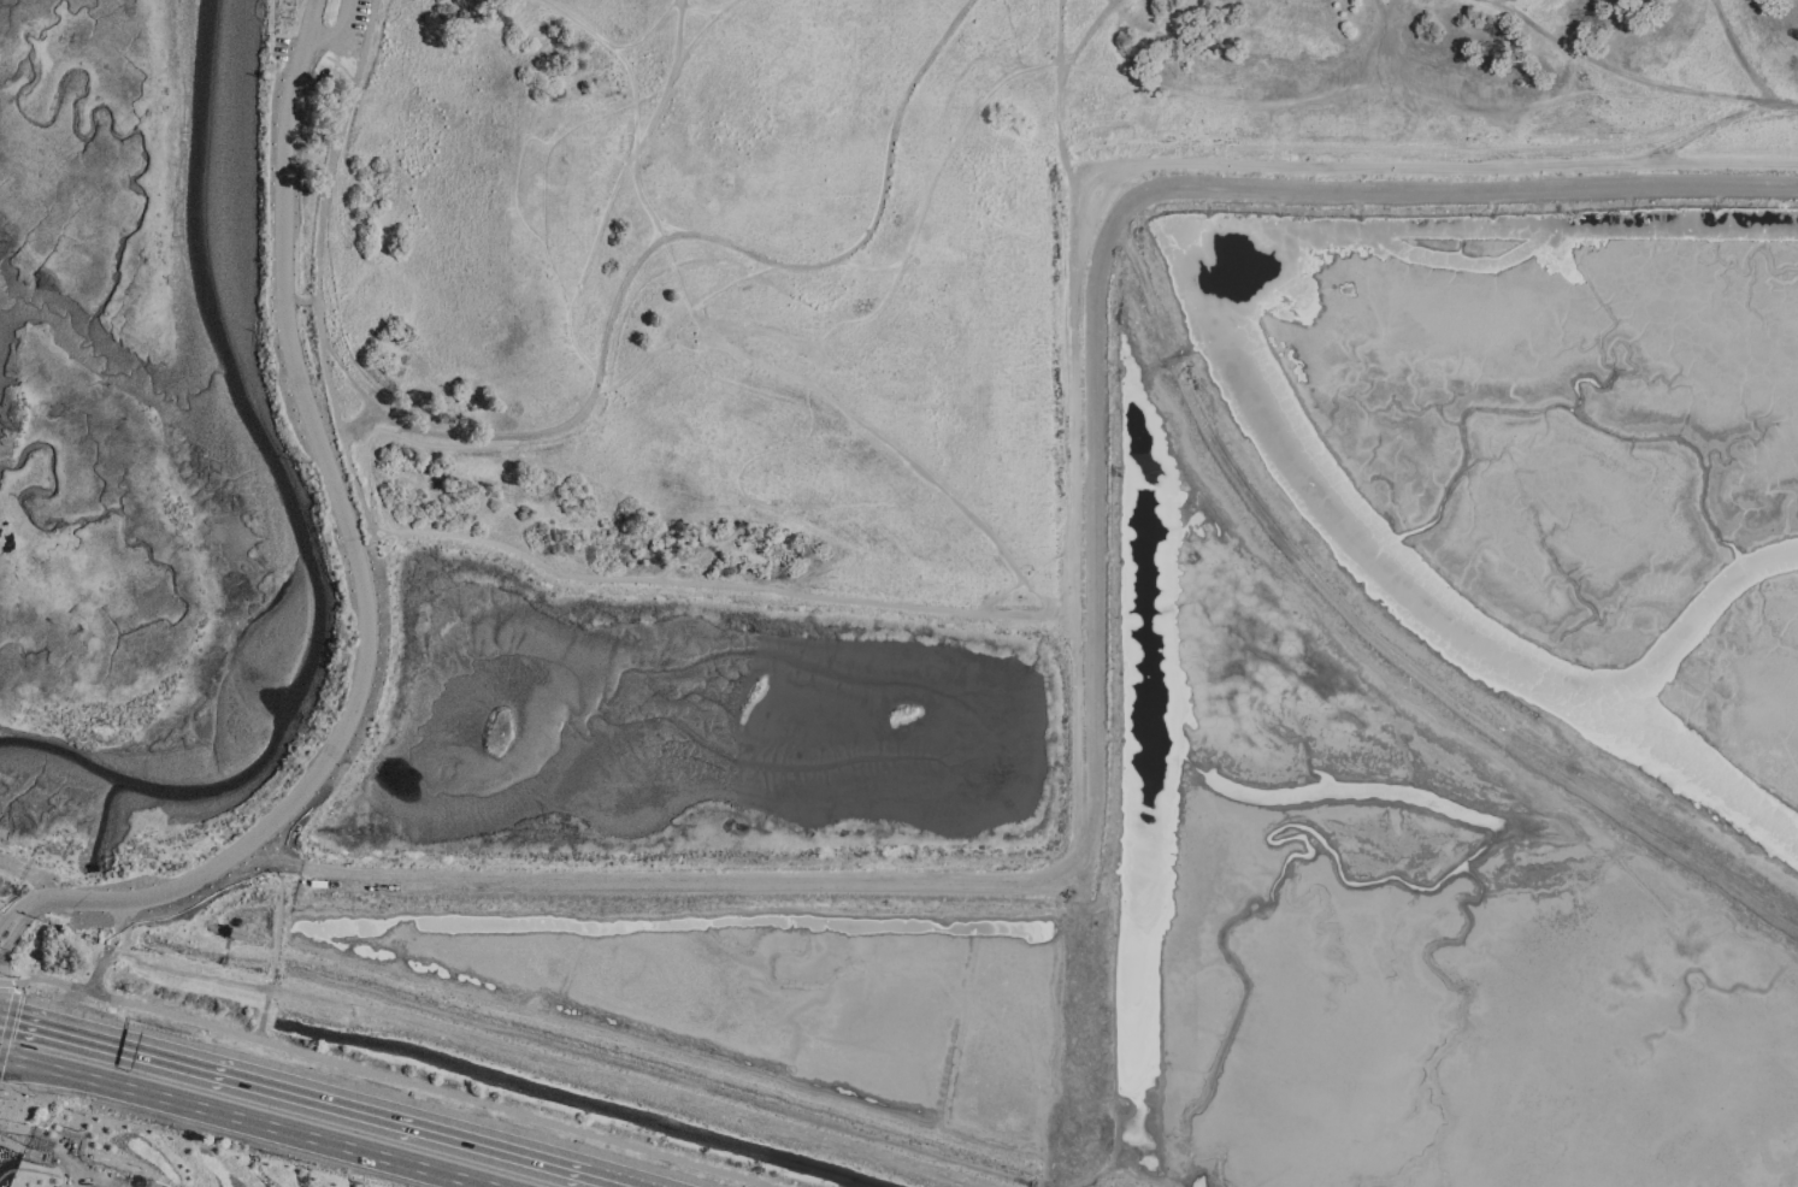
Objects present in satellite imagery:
road: (860, 0)
road: (1386, 10)
road: (660, 16)
parking lot: (359, 29)
road: (678, 31)
road: (271, 34)
road: (1085, 34)
road: (340, 37)
road: (1380, 39)
road: (1735, 54)
road: (618, 59)
road: (1572, 72)
road: (1633, 77)
road: (1366, 84)
road: (1059, 87)
road: (652, 122)
road: (1268, 125)
road: (1697, 131)
road: (1439, 150)
road: (1212, 165)
road: (514, 179)
road: (599, 232)
road: (678, 238)
road: (543, 242)
road: (323, 270)
road: (869, 270)
road: (674, 277)
road: (715, 291)
road: (745, 330)
road: (823, 339)
road: (751, 361)
road: (352, 385)
road: (607, 389)
park: (794, 398)
road: (399, 431)
road: (362, 432)
road: (399, 437)
road: (493, 488)
road: (944, 491)
road: (391, 545)
road: (709, 545)
road: (358, 574)
road: (1022, 580)
road: (705, 585)
road: (1372, 637)
parking lot: (367, 716)
building: (234, 934)
road: (110, 946)
street lamp: (11, 979)
road: (8, 984)
traffic signals: (18, 1018)
road: (10, 1021)
street lamp: (206, 1033)
road: (543, 1063)
road: (393, 1077)
road: (294, 1091)
road: (240, 1121)
power tower: (43, 1147)
parking lot: (76, 1164)
street lamp: (667, 1165)
road: (28, 1169)
road: (96, 1177)
road: (614, 1179)

